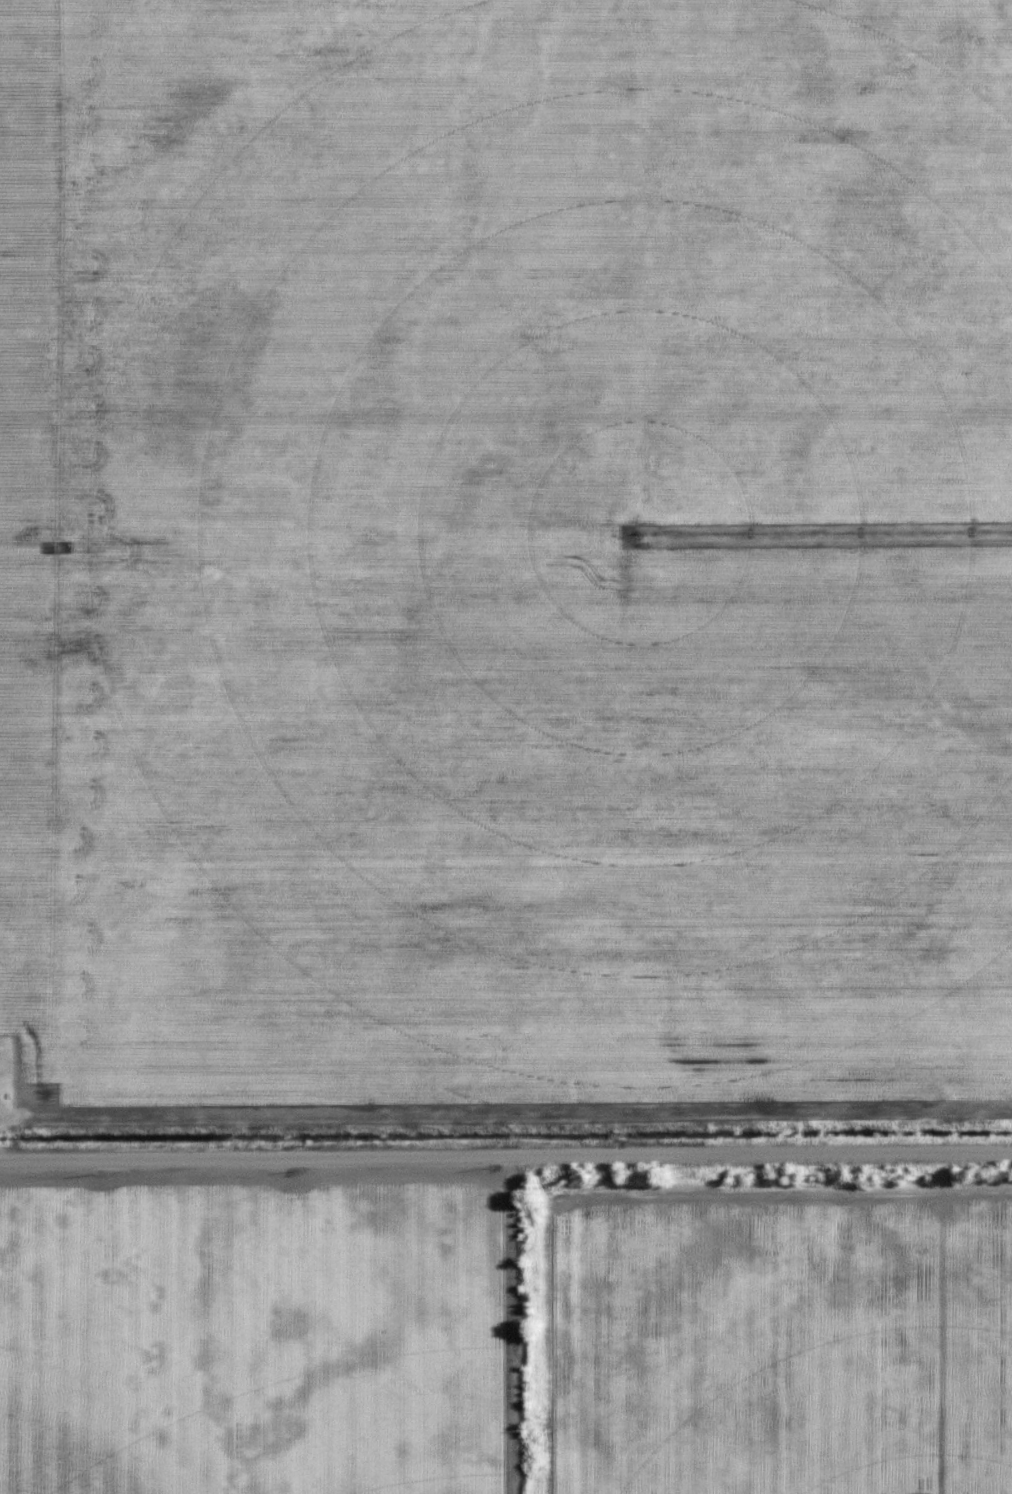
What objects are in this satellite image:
road: (505, 1160)

